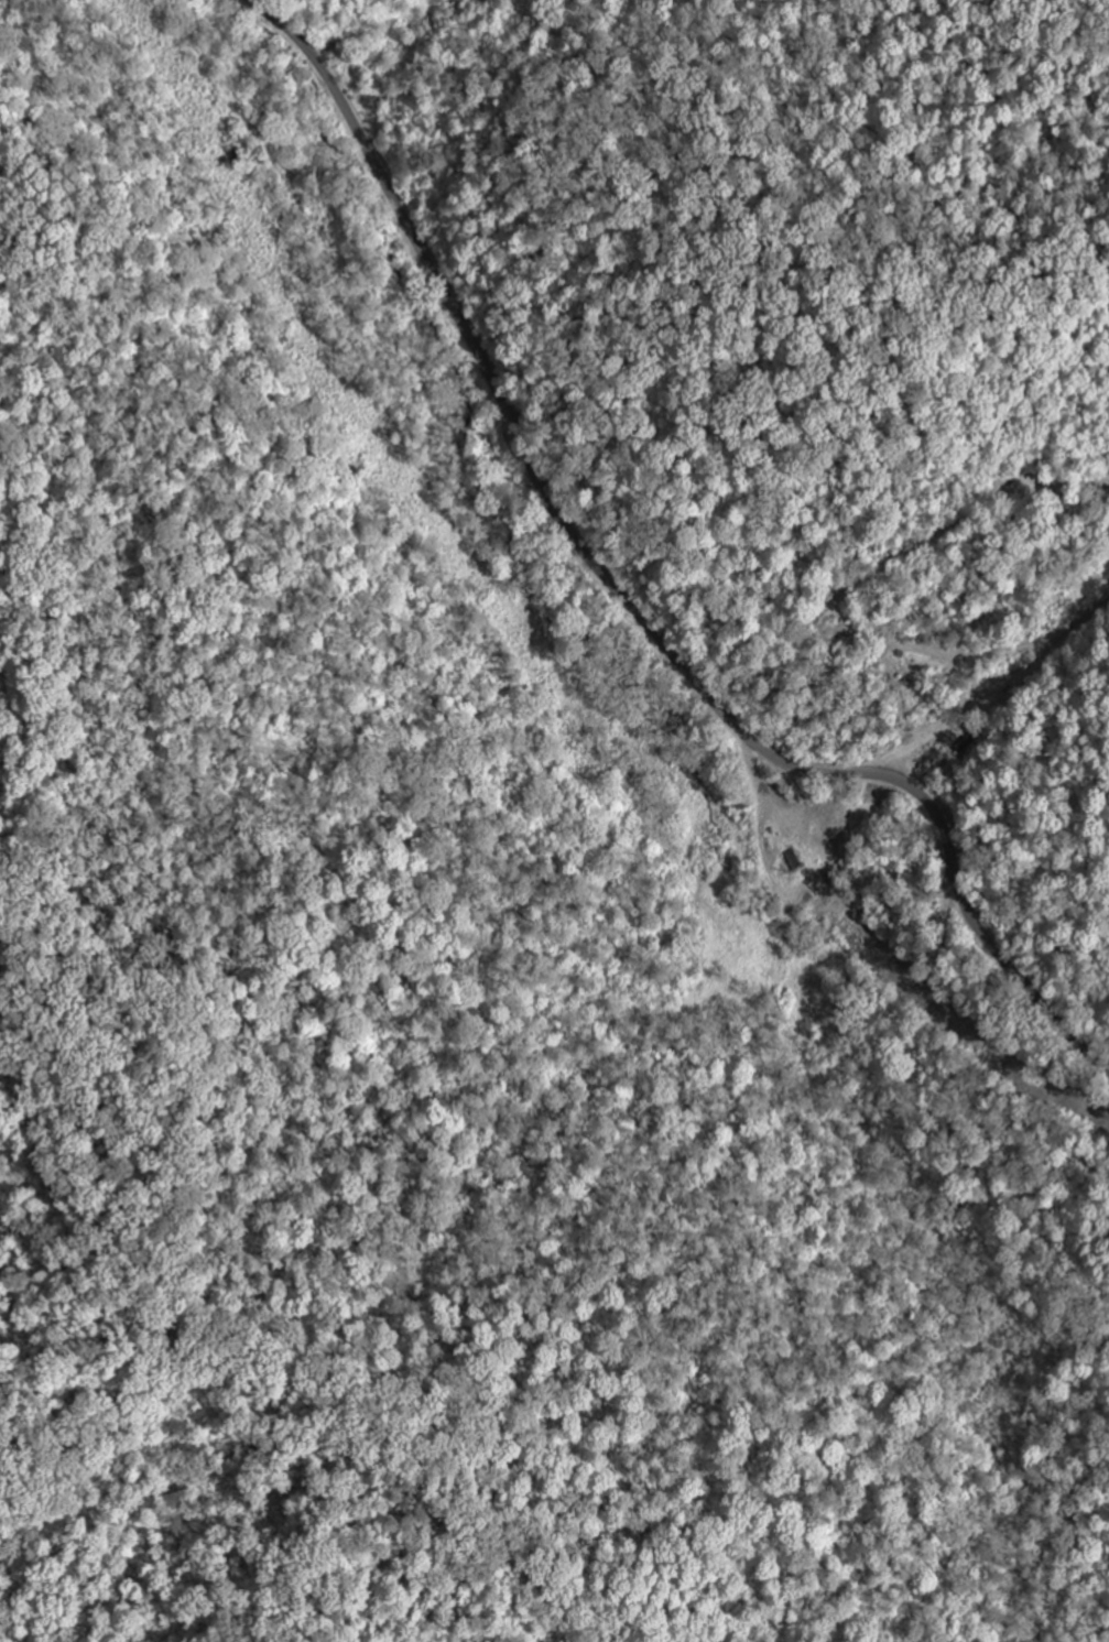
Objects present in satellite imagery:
road: (626, 600)

